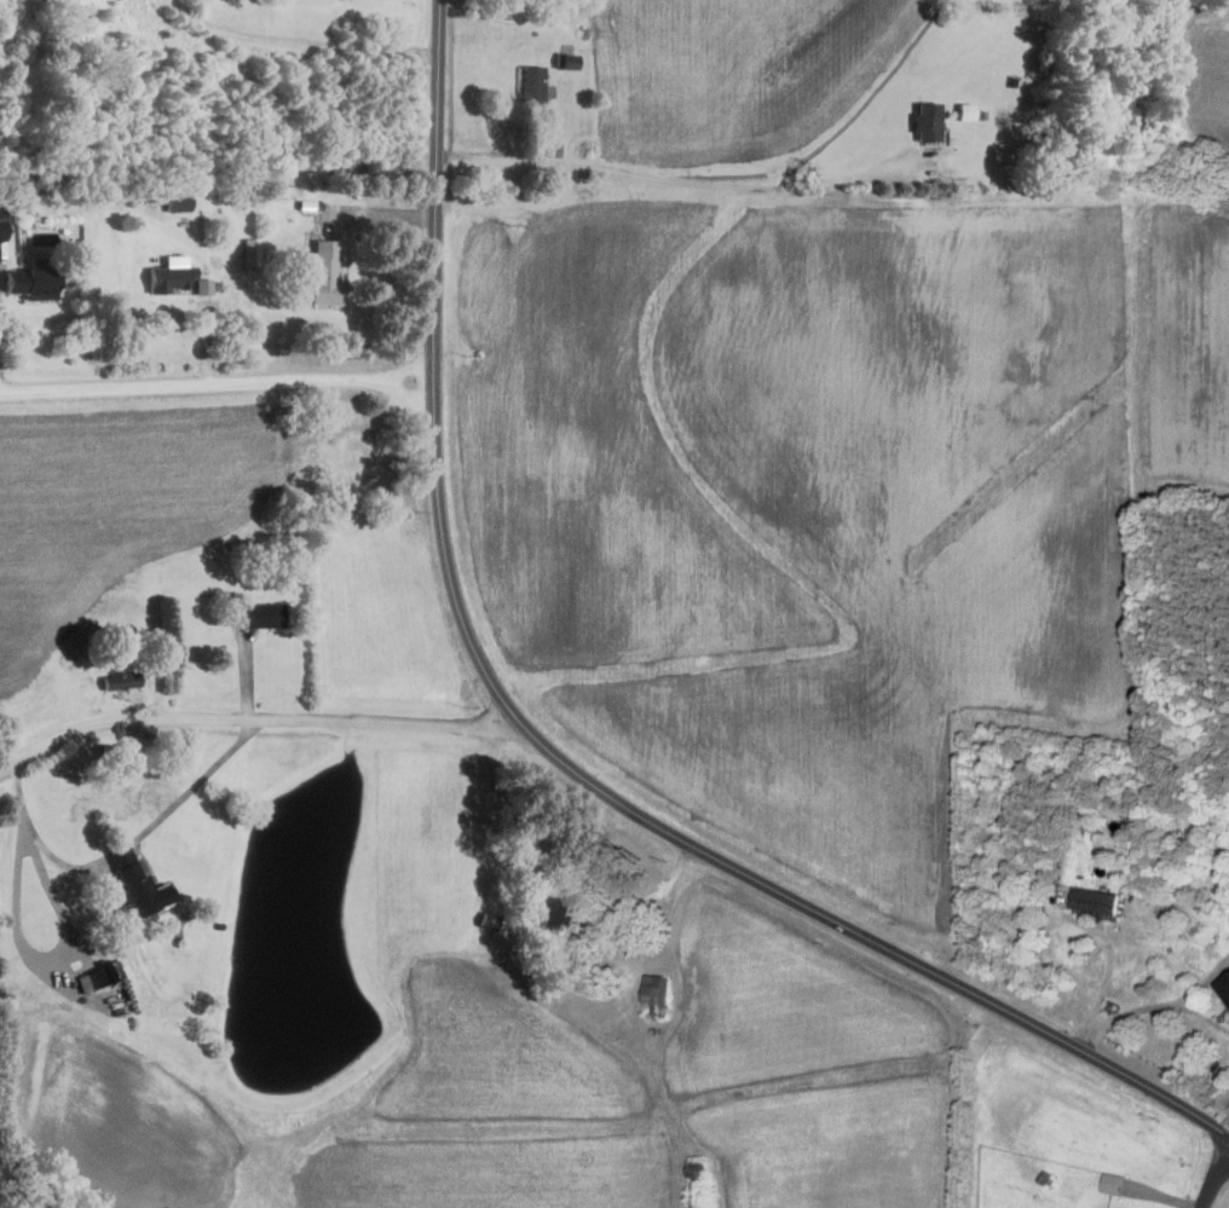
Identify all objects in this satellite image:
road: (299, 41)
building: (567, 62)
building: (530, 89)
building: (965, 111)
building: (924, 121)
road: (674, 181)
building: (174, 201)
building: (1, 222)
building: (249, 253)
building: (323, 271)
building: (168, 279)
building: (30, 282)
building: (203, 285)
road: (215, 381)
building: (258, 617)
building: (117, 678)
road: (254, 724)
road: (547, 752)
road: (194, 785)
road: (40, 843)
building: (131, 882)
road: (651, 895)
building: (1097, 900)
building: (549, 912)
road: (1107, 964)
building: (102, 976)
road: (1200, 979)
building: (1227, 981)
building: (654, 990)
road: (1130, 1010)
road: (1200, 1017)
building: (703, 1168)
road: (1213, 1180)
building: (1114, 1181)

